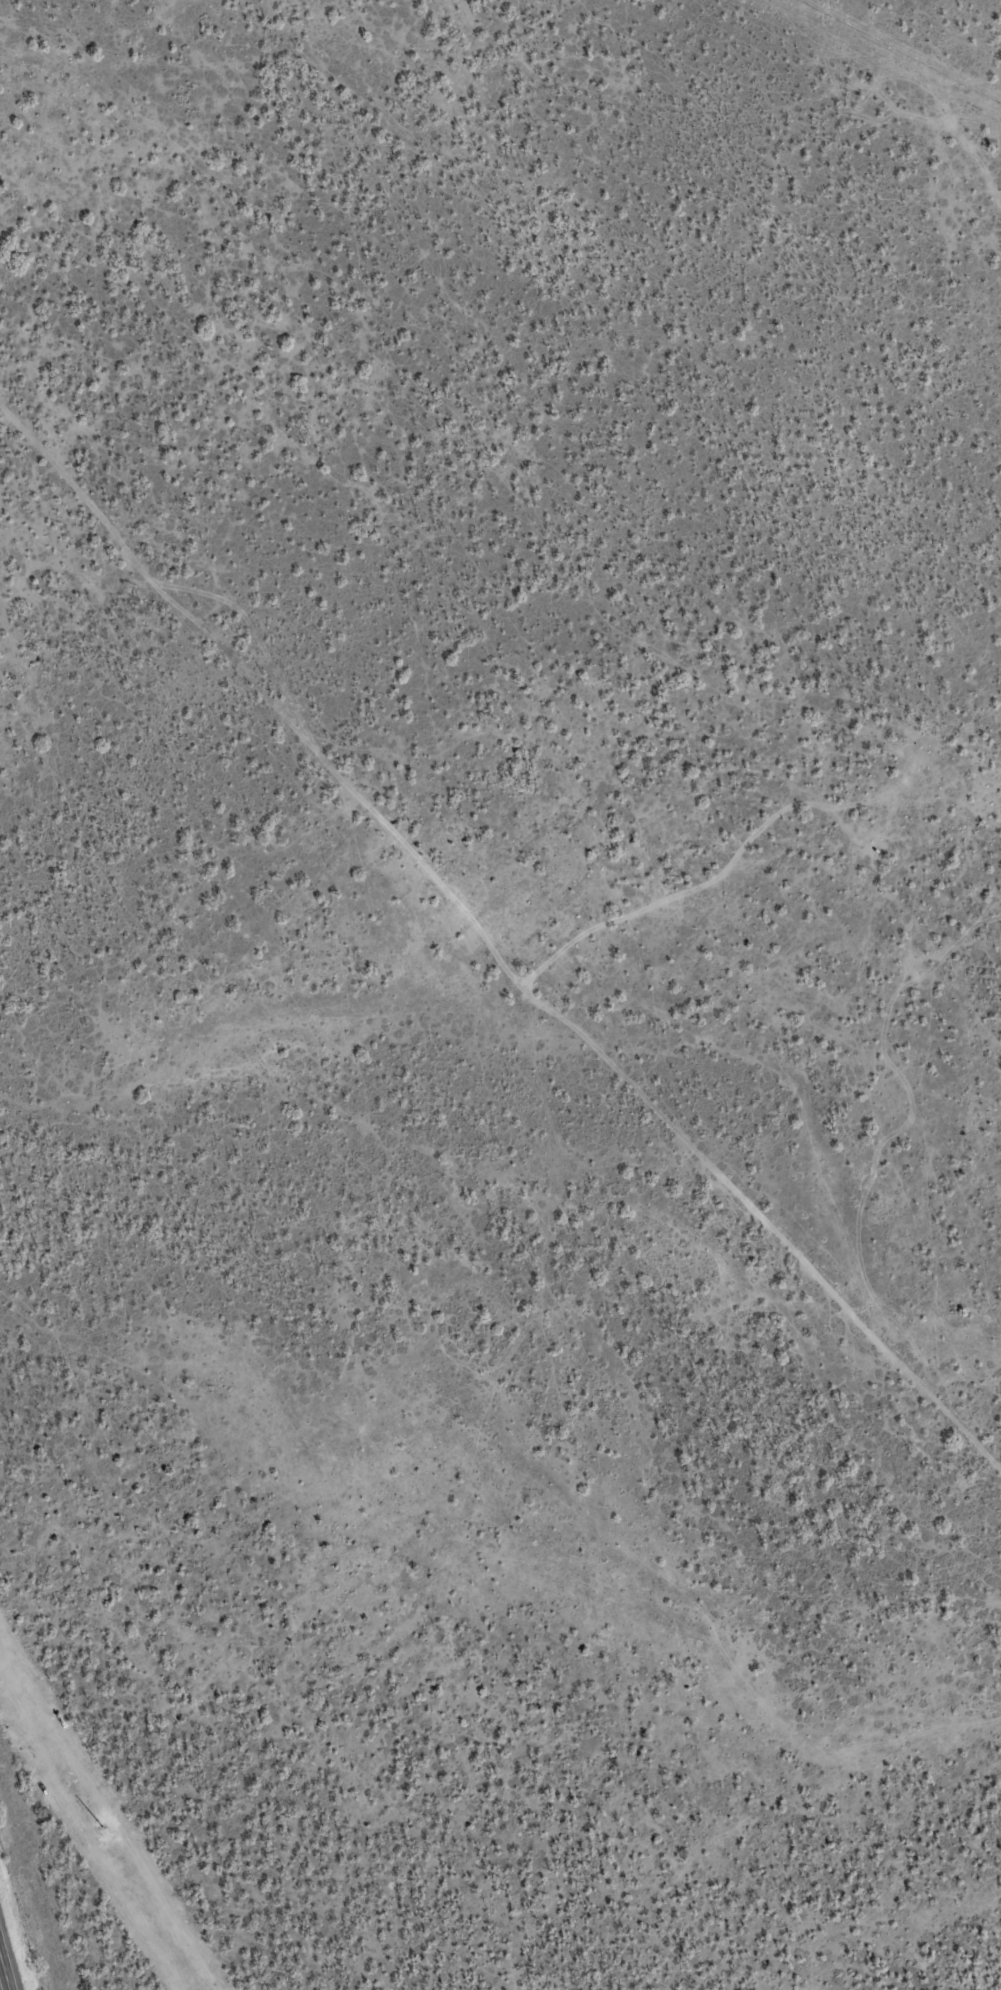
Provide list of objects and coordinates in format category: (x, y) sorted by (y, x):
power tower: (74, 1784)
road: (6, 1967)

